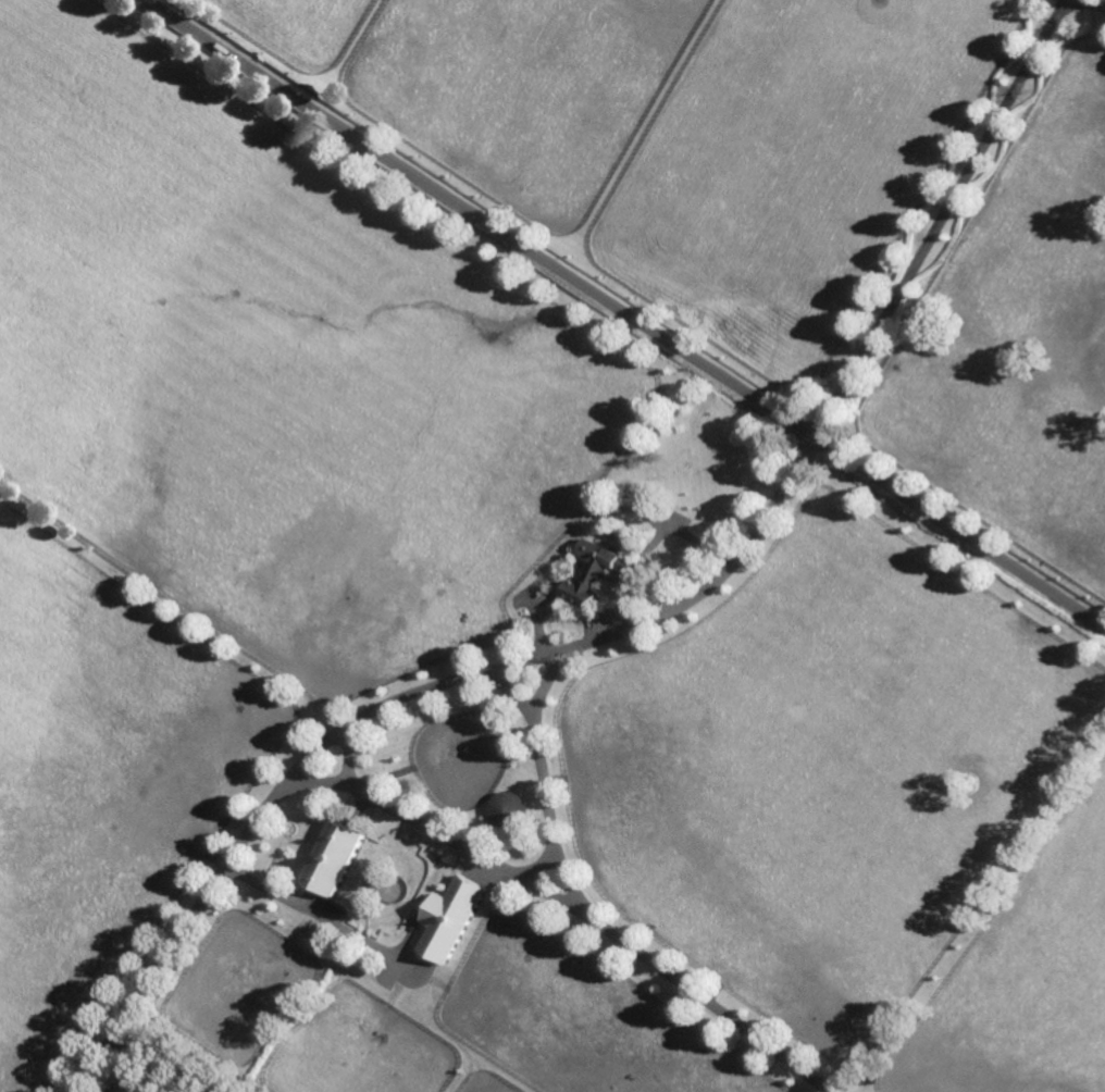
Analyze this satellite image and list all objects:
road: (1097, 4)
road: (940, 216)
road: (623, 312)
road: (738, 555)
building: (596, 570)
road: (348, 752)
road: (286, 782)
road: (423, 823)
building: (338, 856)
building: (442, 899)
road: (598, 919)
road: (163, 1060)

